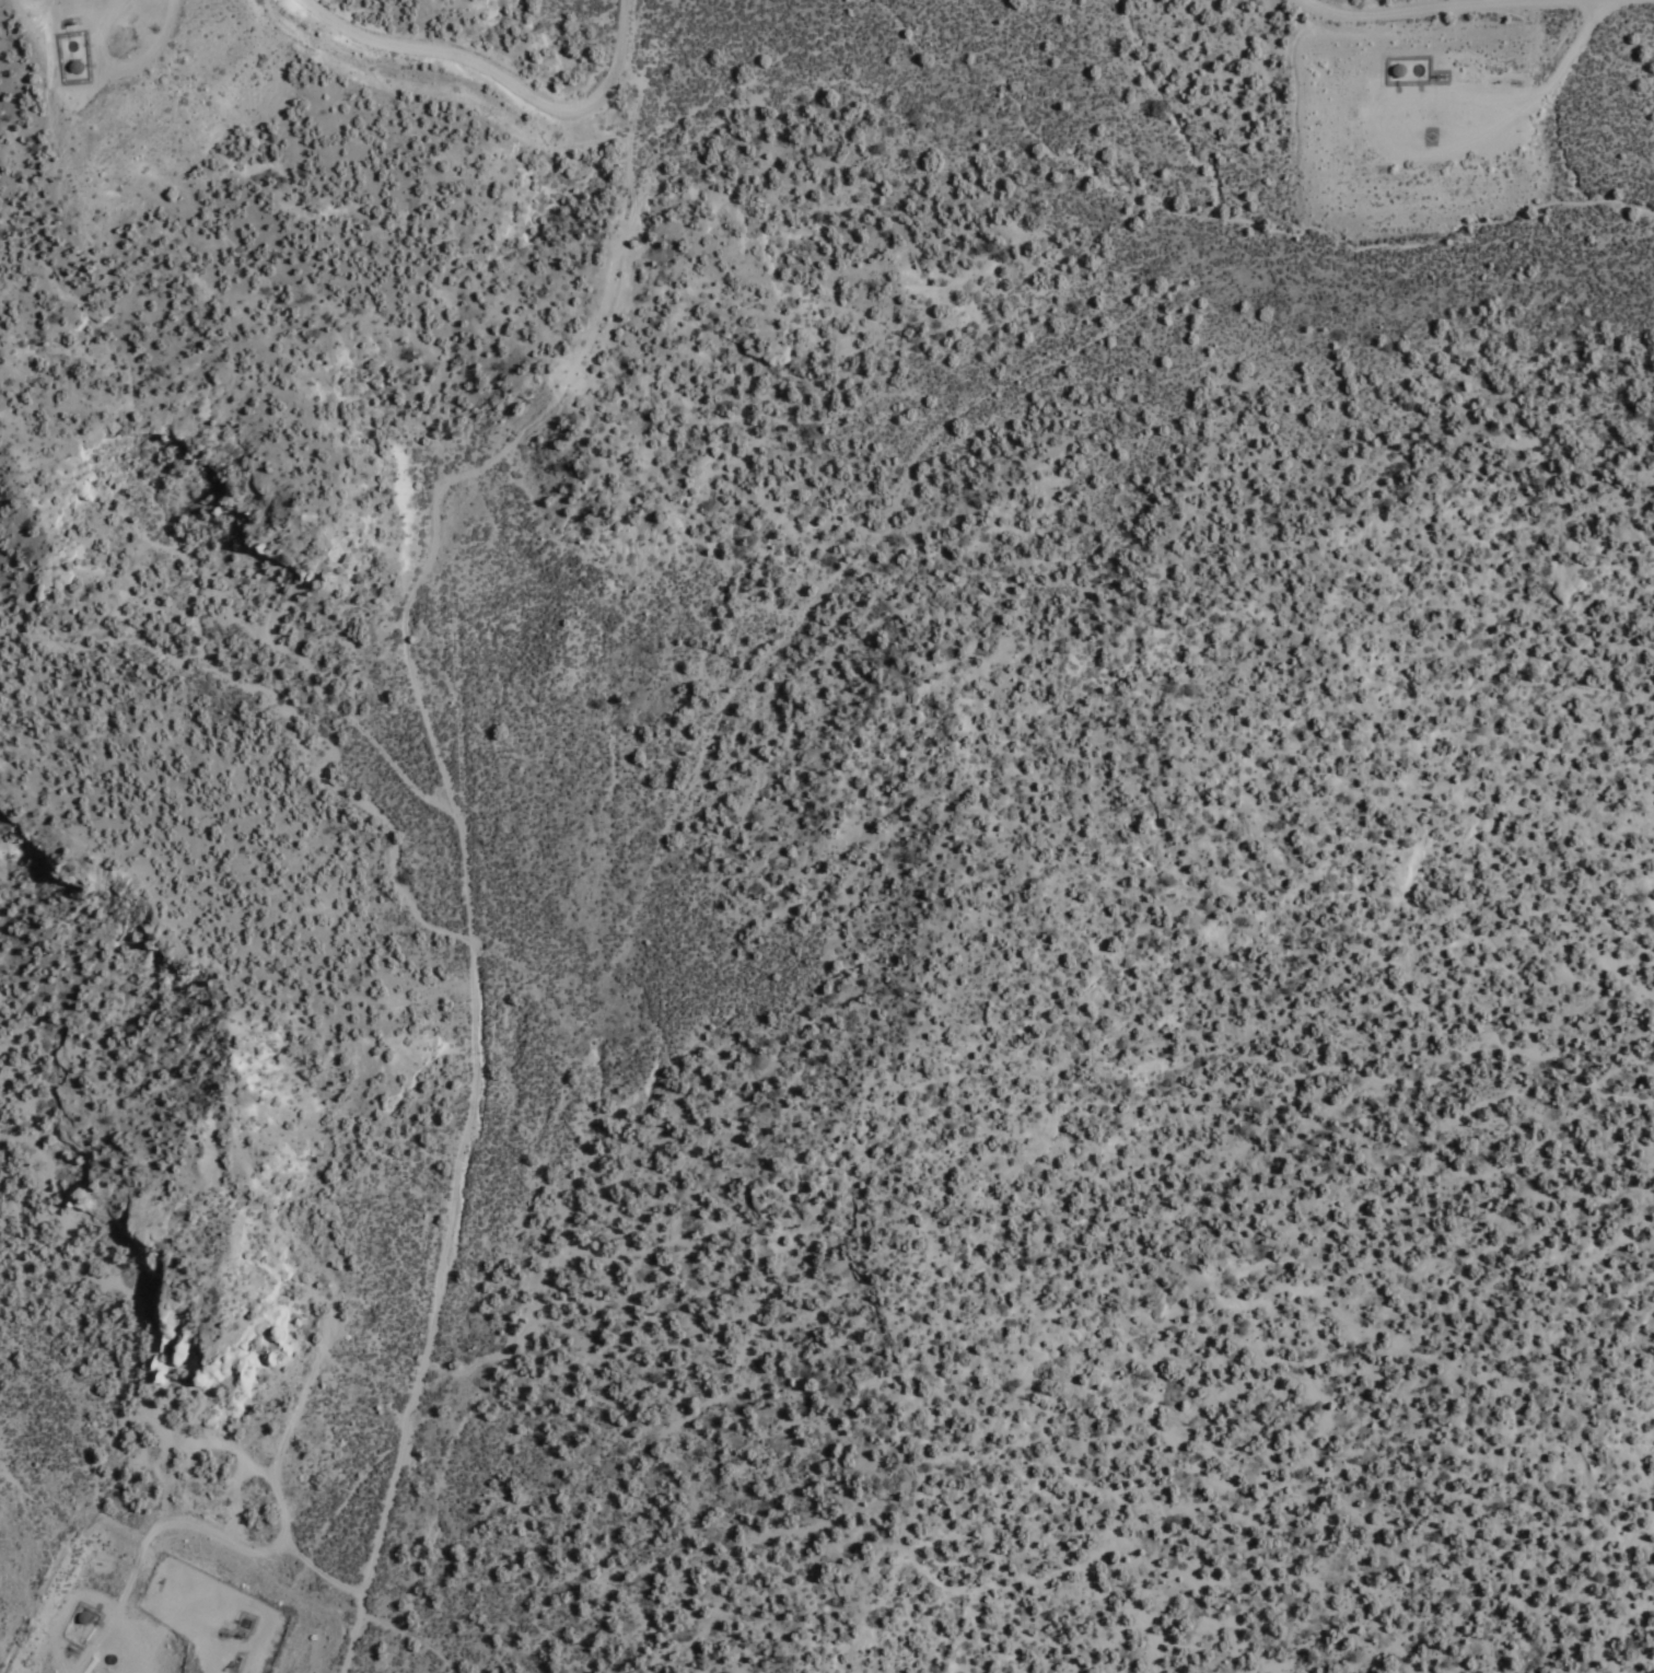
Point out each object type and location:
road: (1387, 7)
road: (1580, 45)
road: (132, 61)
road: (509, 73)
road: (1383, 129)
road: (465, 828)
road: (1360, 1270)
road: (143, 1310)
road: (282, 1490)
road: (323, 1567)
road: (164, 1631)
road: (131, 1648)
road: (92, 1651)

